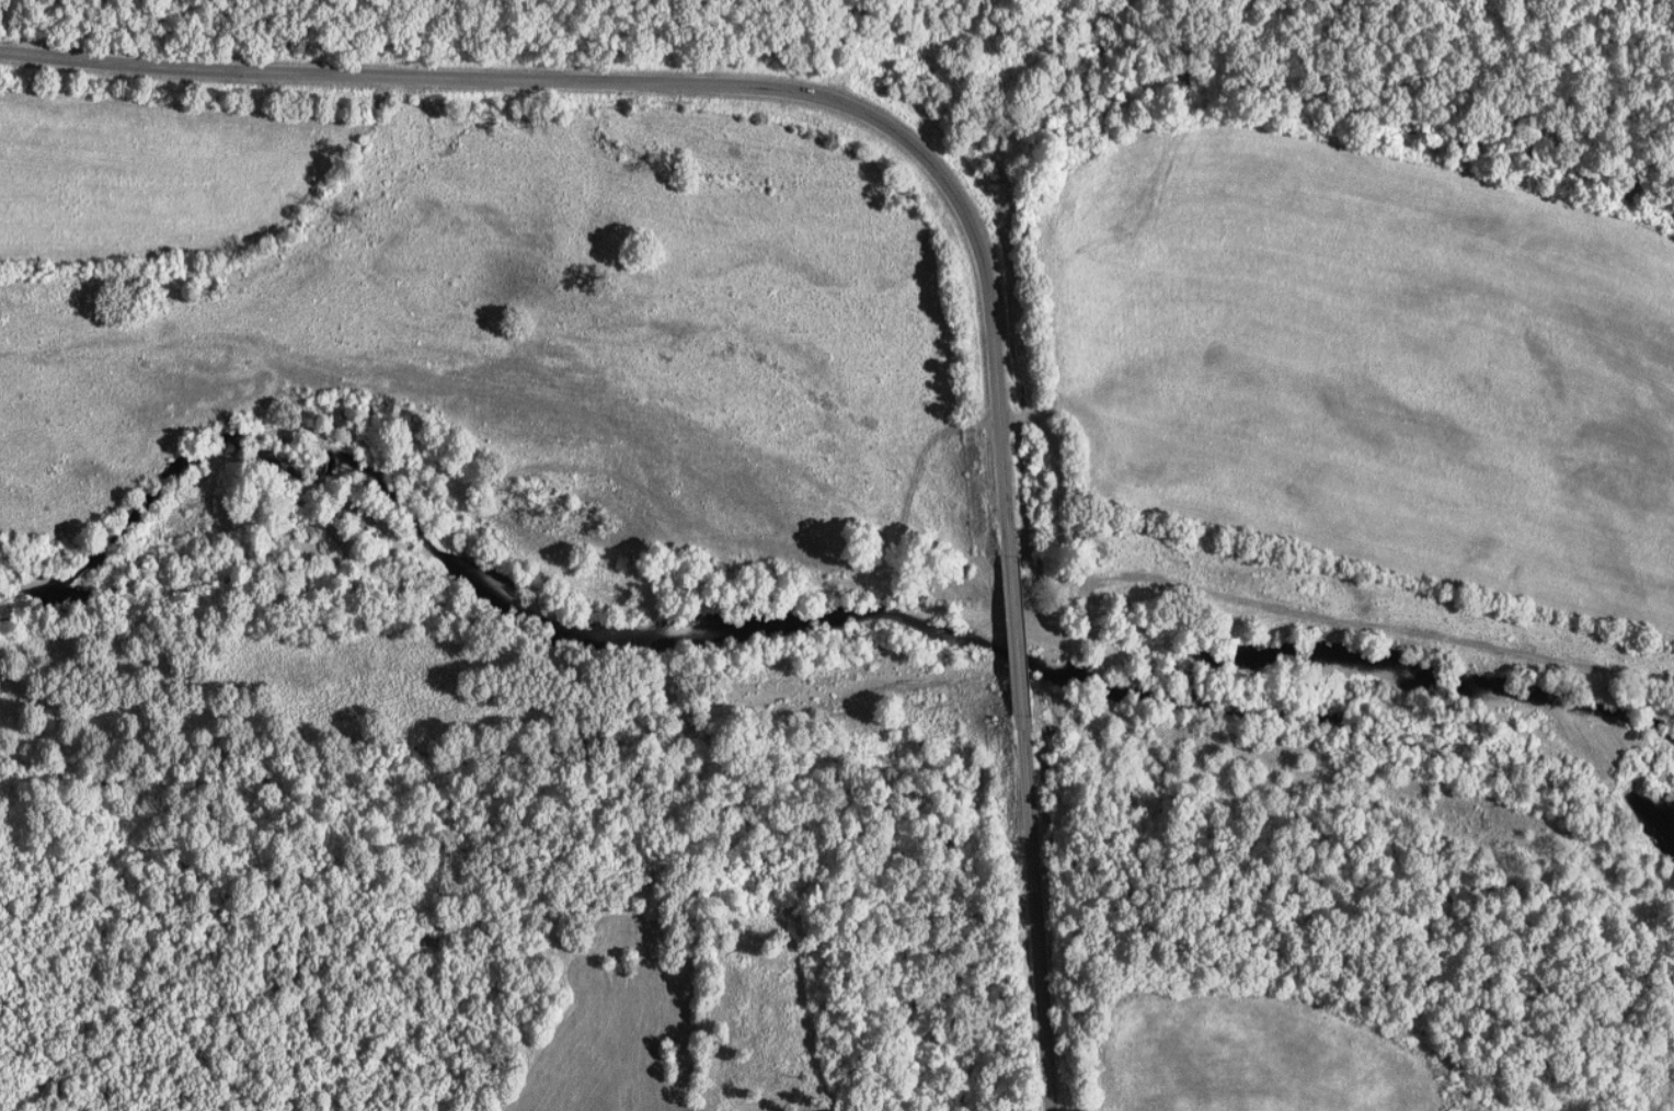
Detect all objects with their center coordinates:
road: (938, 164)
road: (1343, 621)
road: (986, 1103)

